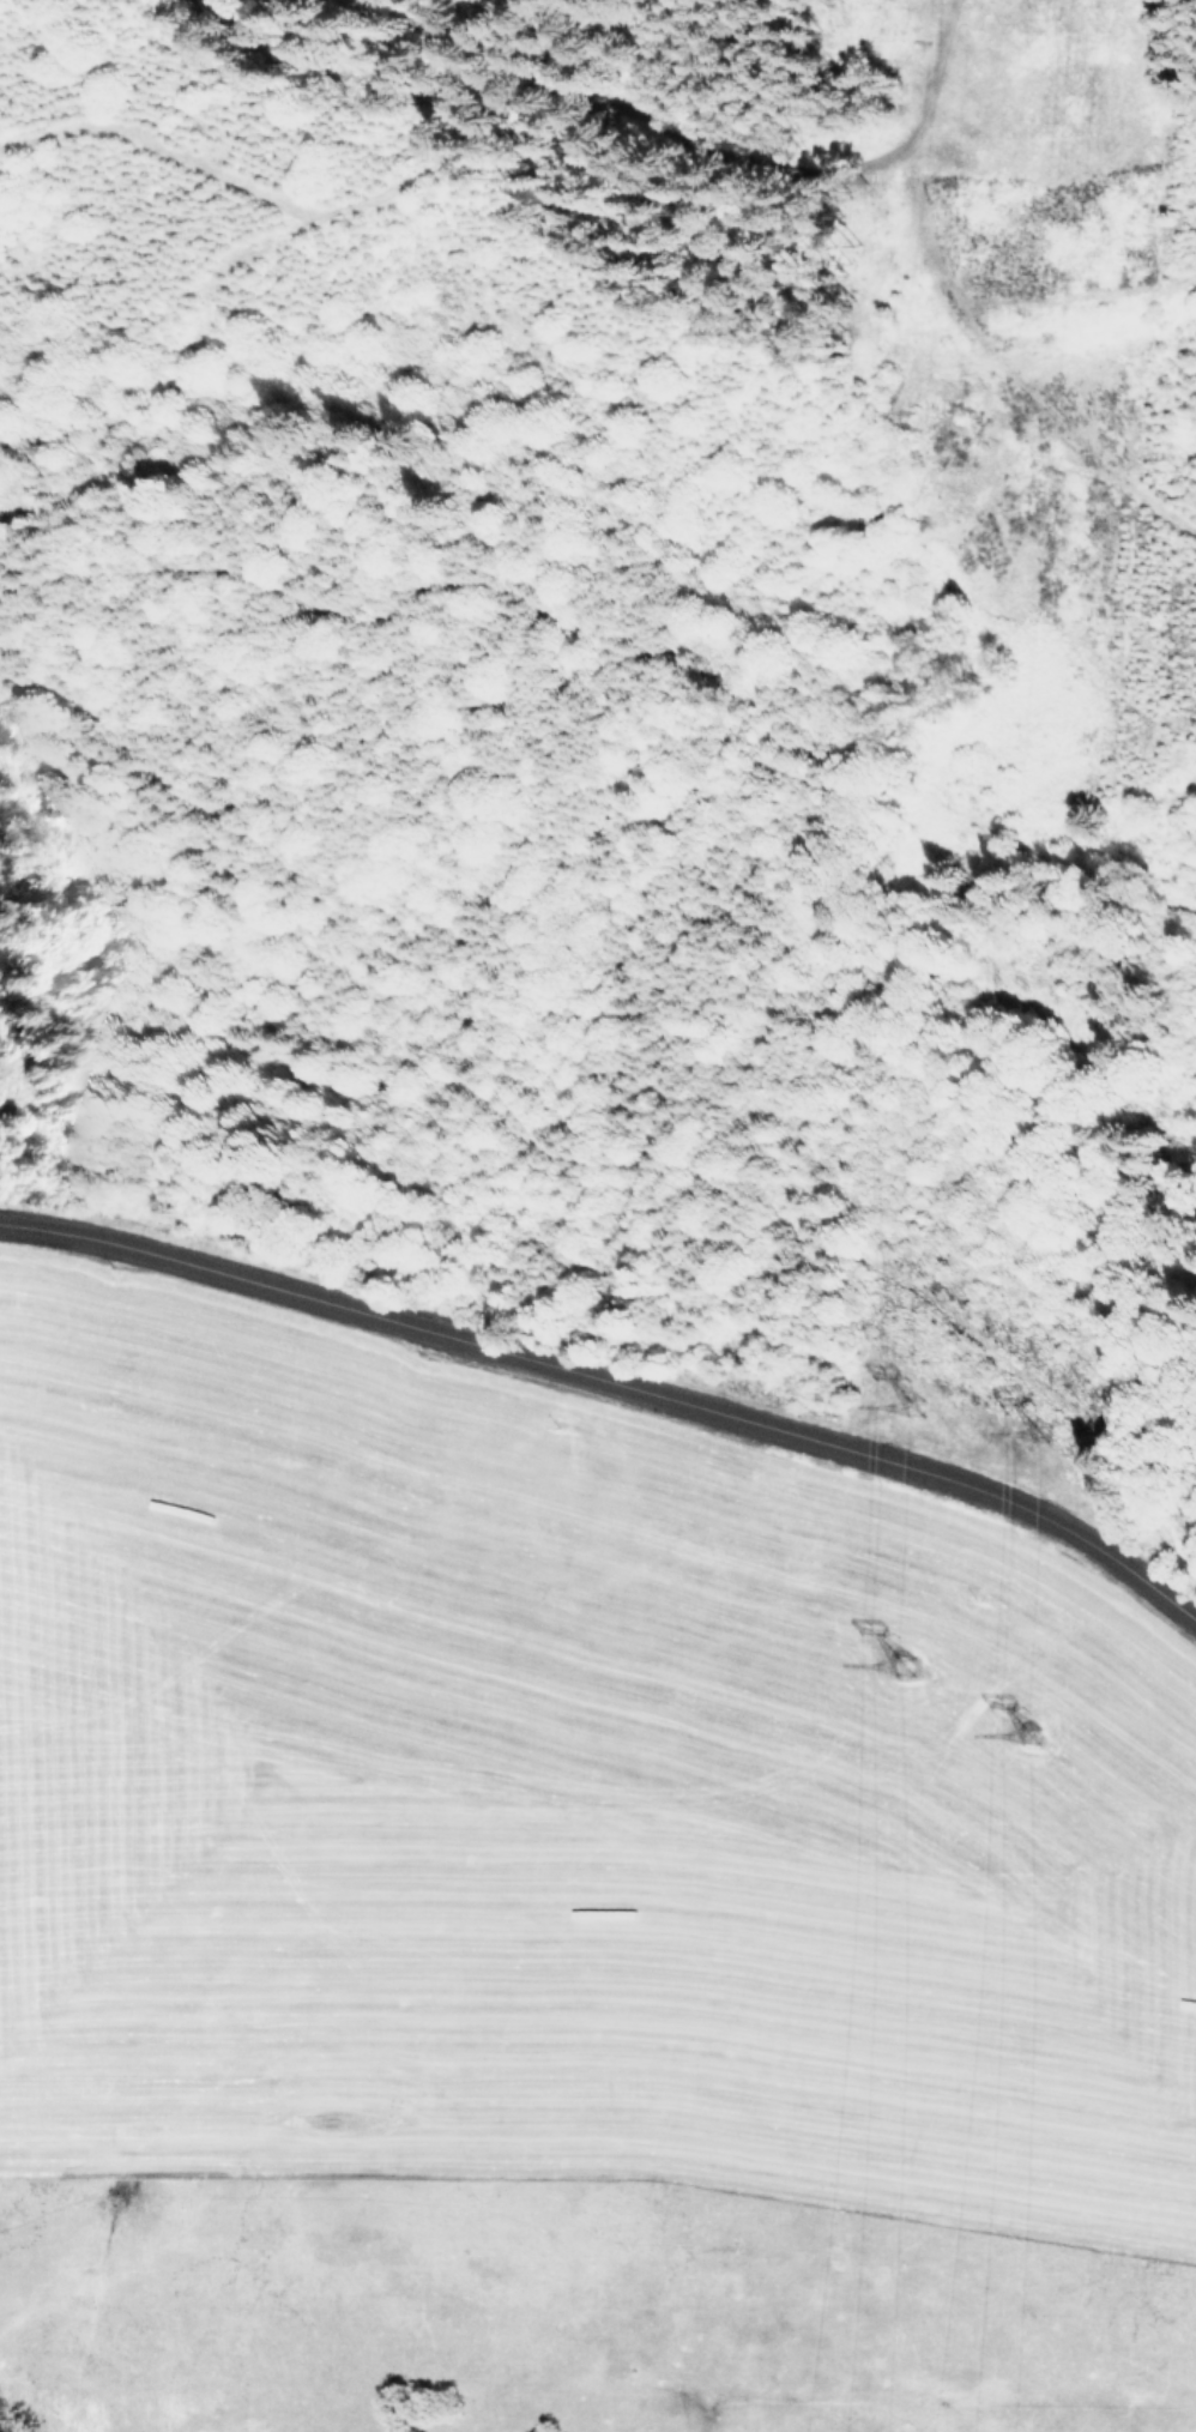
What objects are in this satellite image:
road: (457, 158)
road: (1077, 298)
road: (959, 309)
road: (624, 652)
road: (804, 1229)
road: (612, 1386)
power tower: (919, 1422)
power tower: (1068, 1450)
power tower: (901, 1670)
power tower: (1043, 1751)
crop: (555, 1804)

